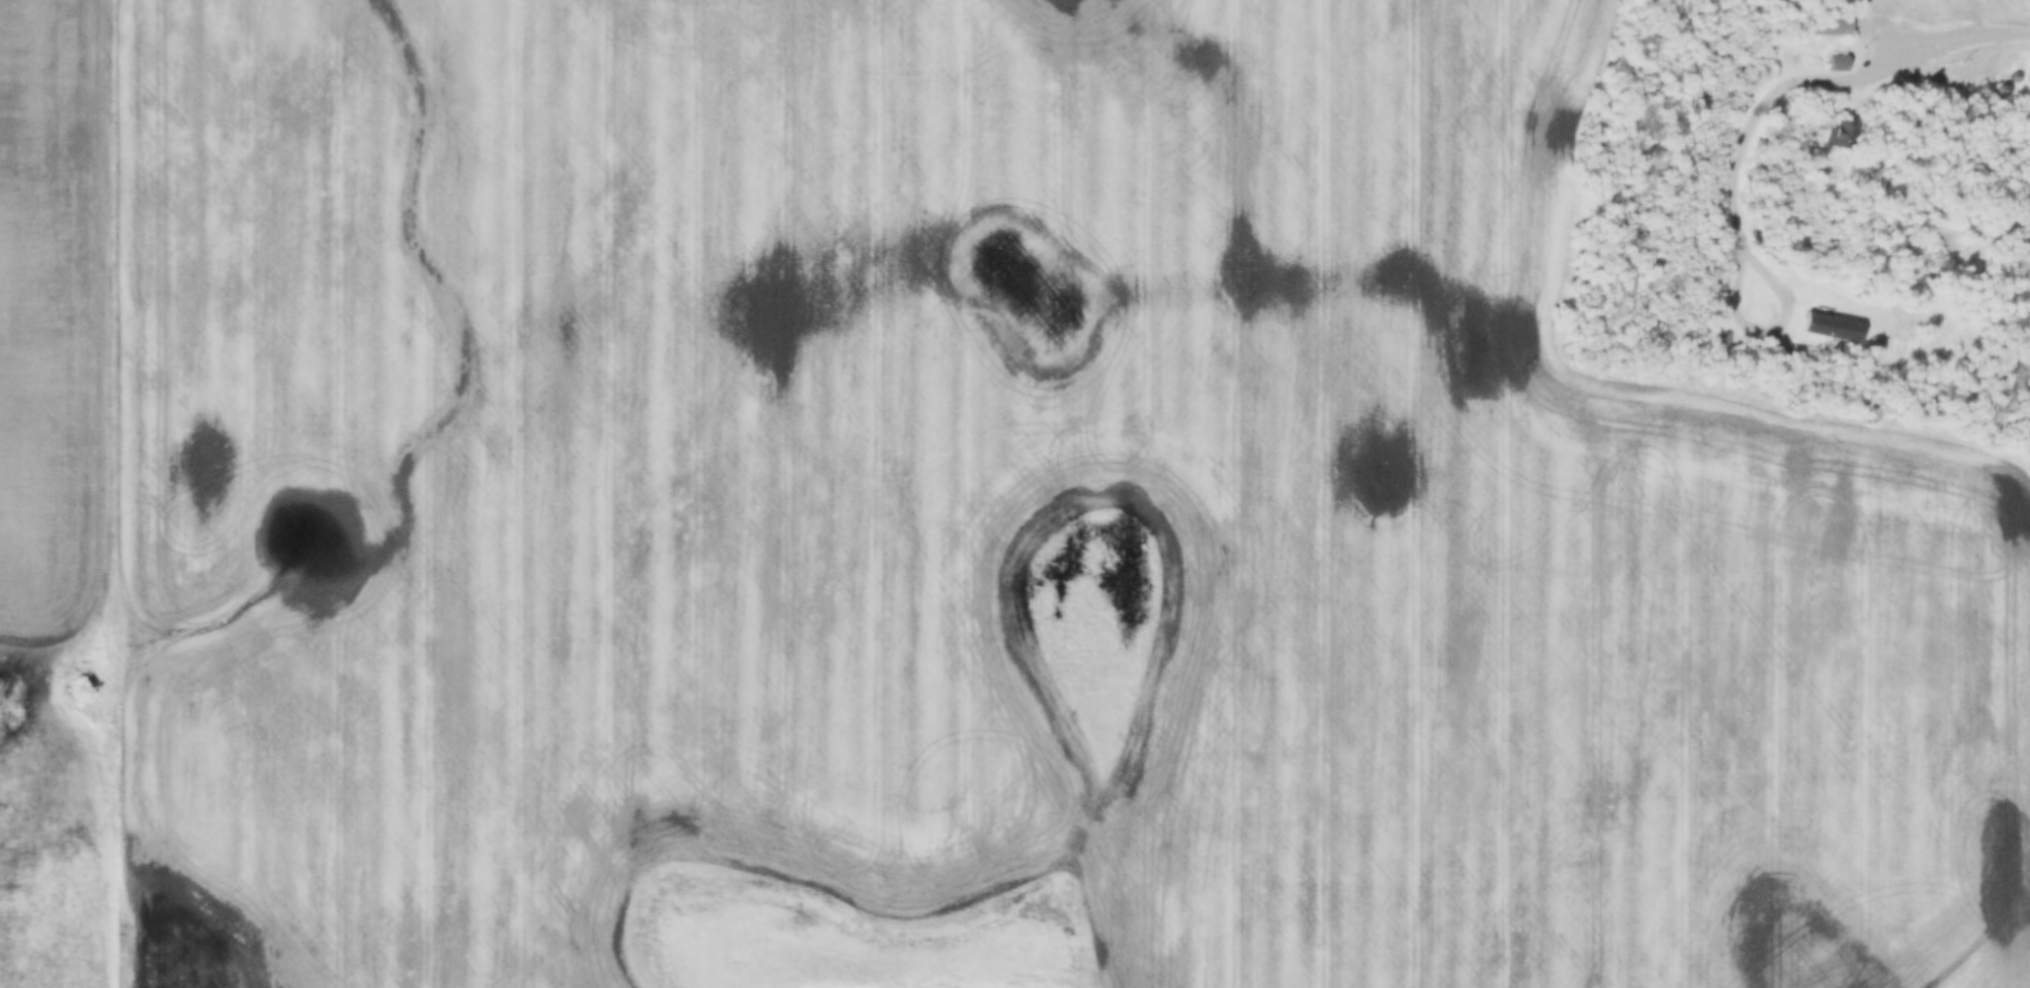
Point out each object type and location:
road: (1964, 37)
building: (1840, 65)
building: (1838, 137)
road: (1730, 198)
building: (1835, 328)

